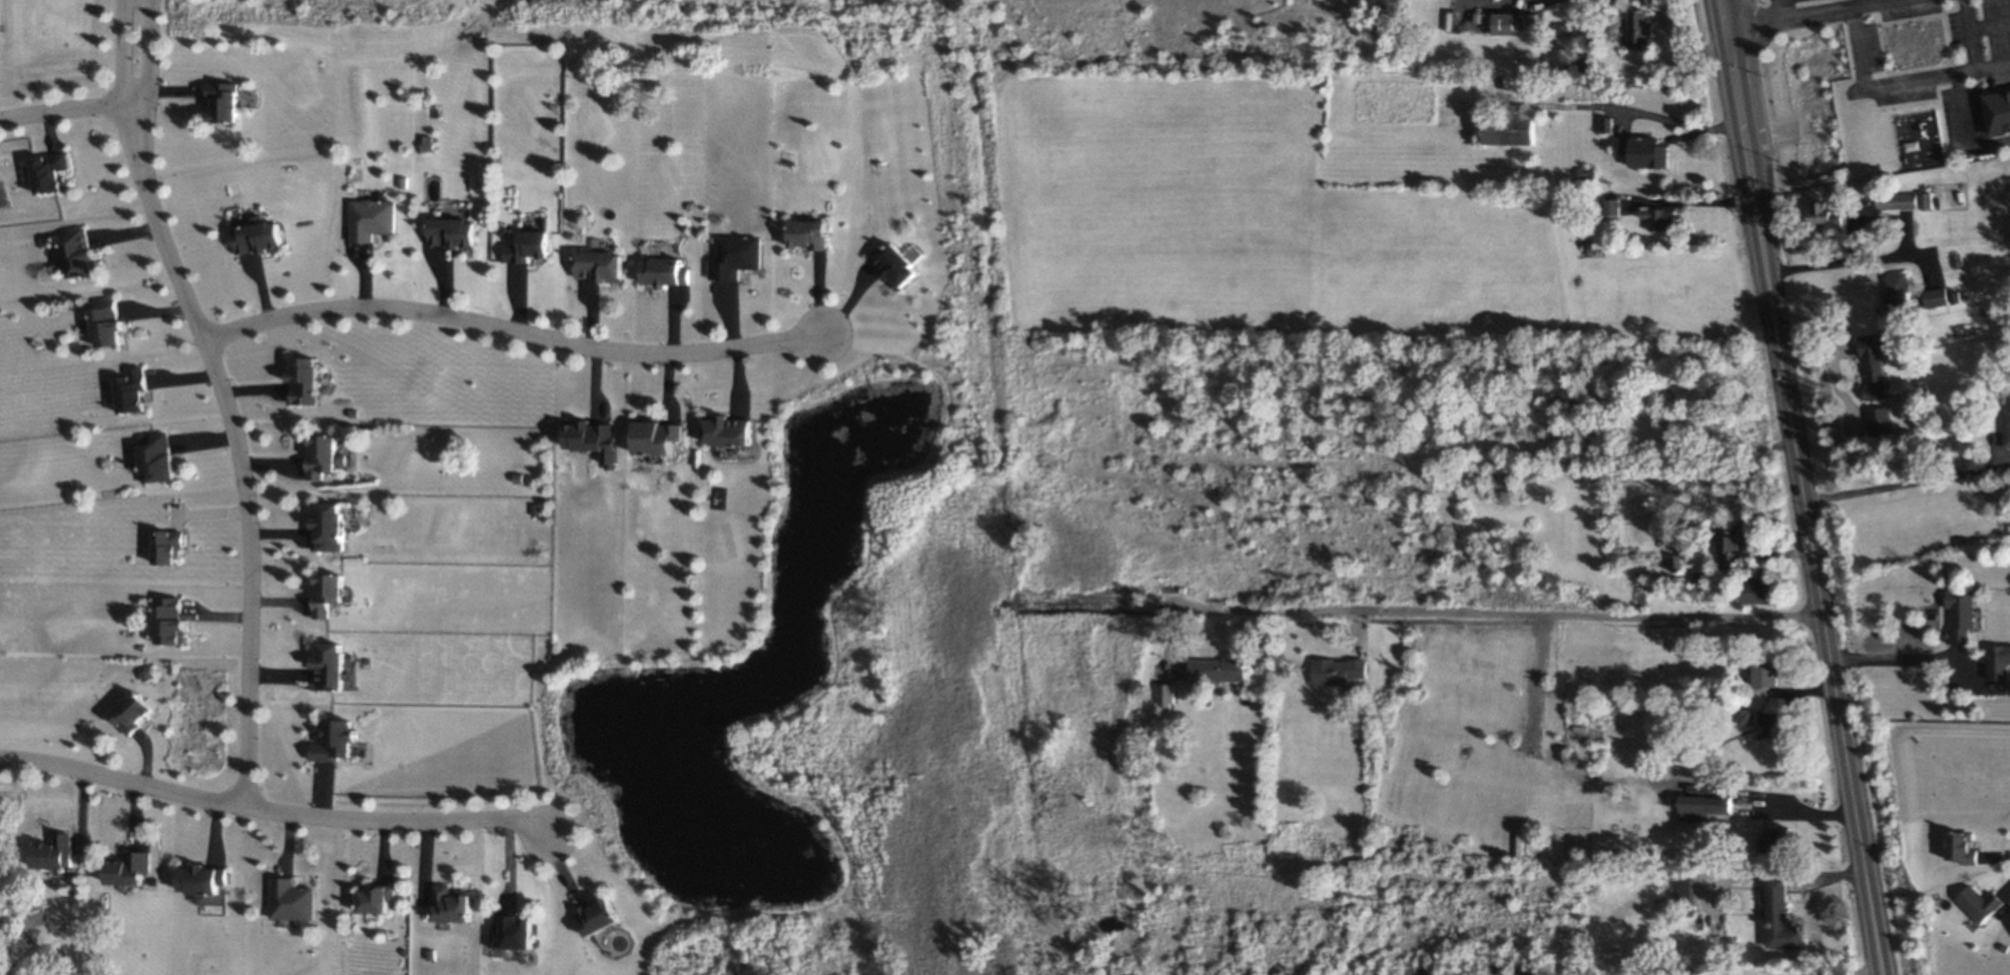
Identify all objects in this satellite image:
gas station: (1768, 1)
road: (1826, 8)
road: (1762, 20)
building: (1514, 23)
building: (1637, 28)
road: (125, 52)
road: (149, 54)
road: (1993, 62)
road: (1909, 77)
building: (225, 98)
building: (1997, 111)
road: (66, 113)
road: (1965, 126)
building: (1508, 128)
building: (426, 142)
building: (1642, 151)
building: (52, 171)
building: (1896, 200)
building: (1925, 200)
road: (1691, 201)
building: (1611, 206)
building: (374, 213)
building: (1824, 215)
crop: (1247, 217)
building: (1659, 217)
building: (451, 231)
building: (816, 234)
building: (258, 238)
building: (530, 246)
building: (80, 253)
building: (743, 258)
road: (1856, 258)
building: (601, 265)
building: (898, 266)
building: (668, 271)
building: (1899, 292)
building: (1935, 296)
building: (110, 328)
road: (511, 330)
building: (1876, 360)
building: (306, 381)
building: (132, 393)
building: (1878, 420)
building: (2006, 421)
building: (733, 437)
building: (589, 438)
building: (661, 438)
road: (236, 446)
building: (156, 458)
building: (325, 458)
road: (1900, 482)
road: (1801, 487)
building: (331, 528)
building: (148, 538)
building: (169, 544)
building: (1734, 545)
building: (1756, 591)
building: (333, 594)
road: (1492, 613)
building: (1959, 615)
building: (172, 618)
road: (1889, 658)
building: (1997, 661)
building: (333, 665)
building: (1216, 668)
building: (1336, 670)
building: (1764, 673)
building: (1163, 696)
building: (137, 711)
building: (1746, 715)
building: (339, 740)
building: (1703, 806)
road: (275, 808)
building: (1961, 847)
building: (58, 854)
building: (133, 868)
building: (208, 880)
building: (1685, 889)
building: (379, 896)
building: (295, 900)
building: (1979, 903)
building: (455, 904)
building: (1779, 917)
building: (601, 919)
building: (514, 931)

